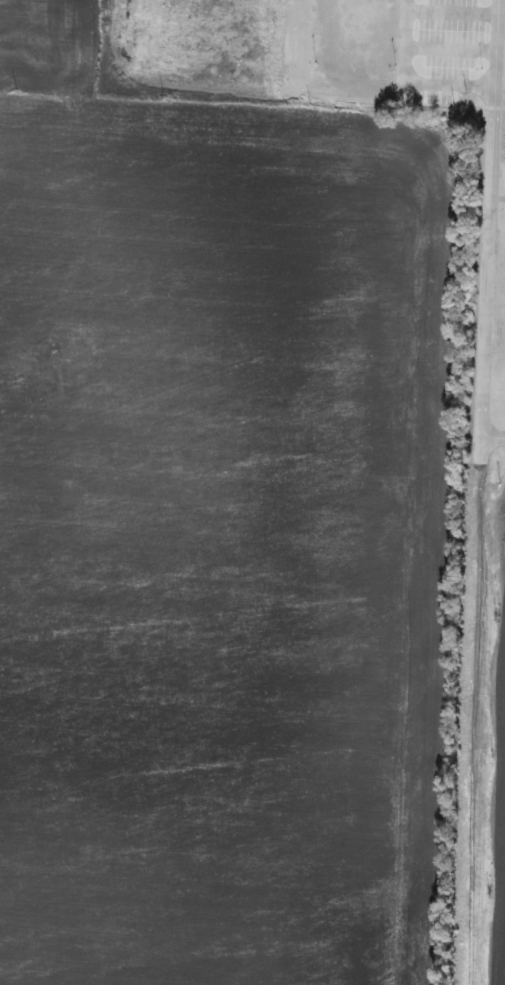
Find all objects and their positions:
road: (451, 14)
road: (449, 49)
road: (450, 83)
road: (484, 274)

